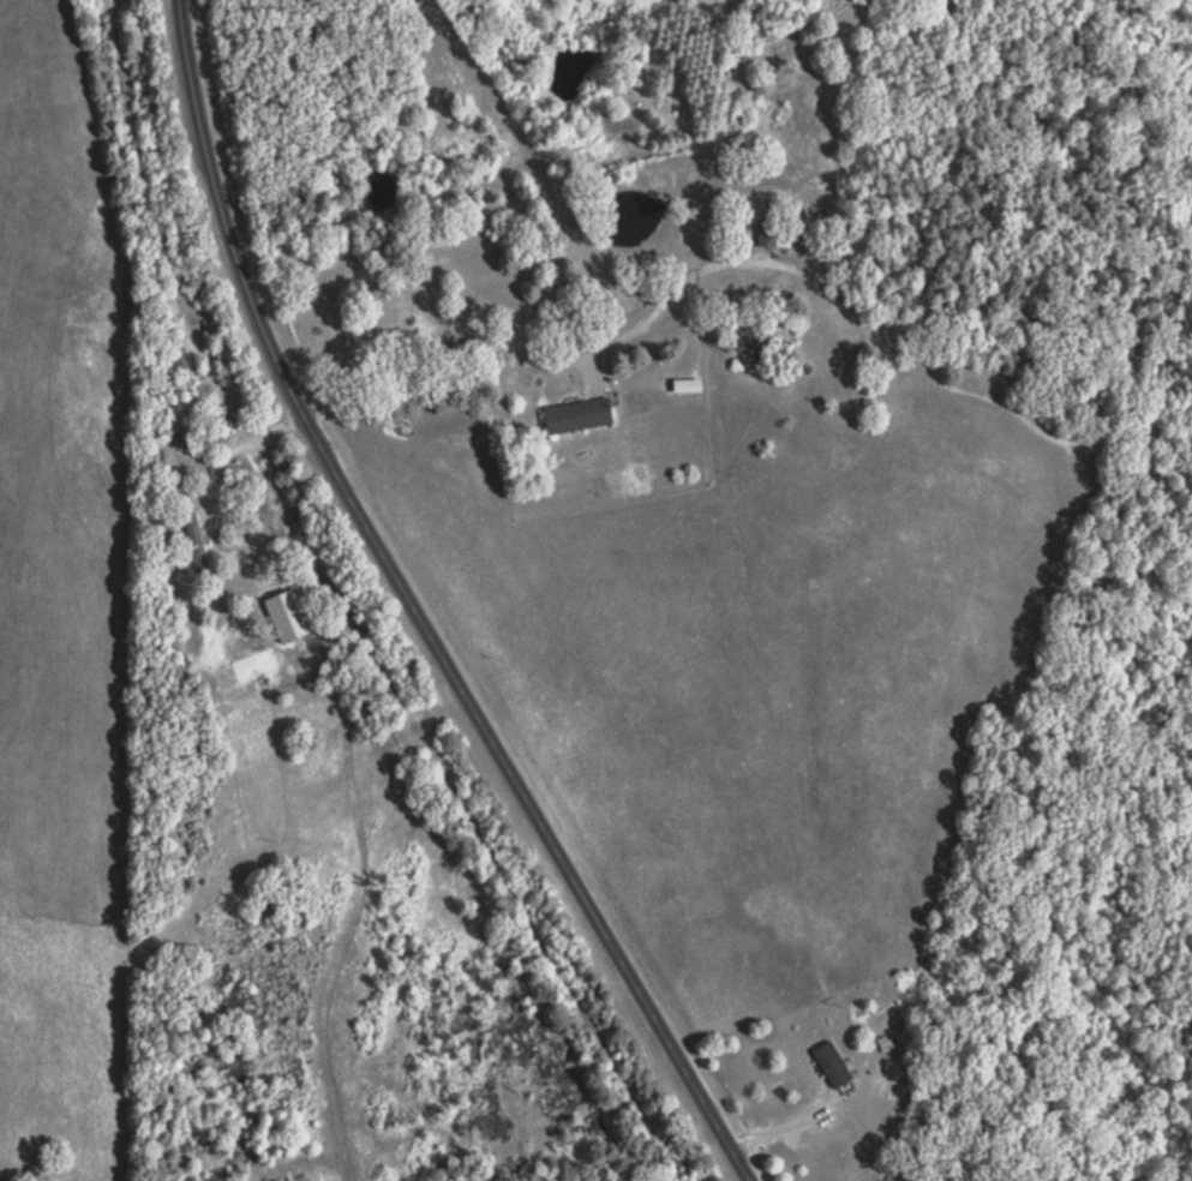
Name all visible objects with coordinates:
road: (569, 359)
building: (585, 413)
road: (241, 445)
road: (414, 612)
building: (293, 613)
building: (839, 1062)
road: (811, 1104)

